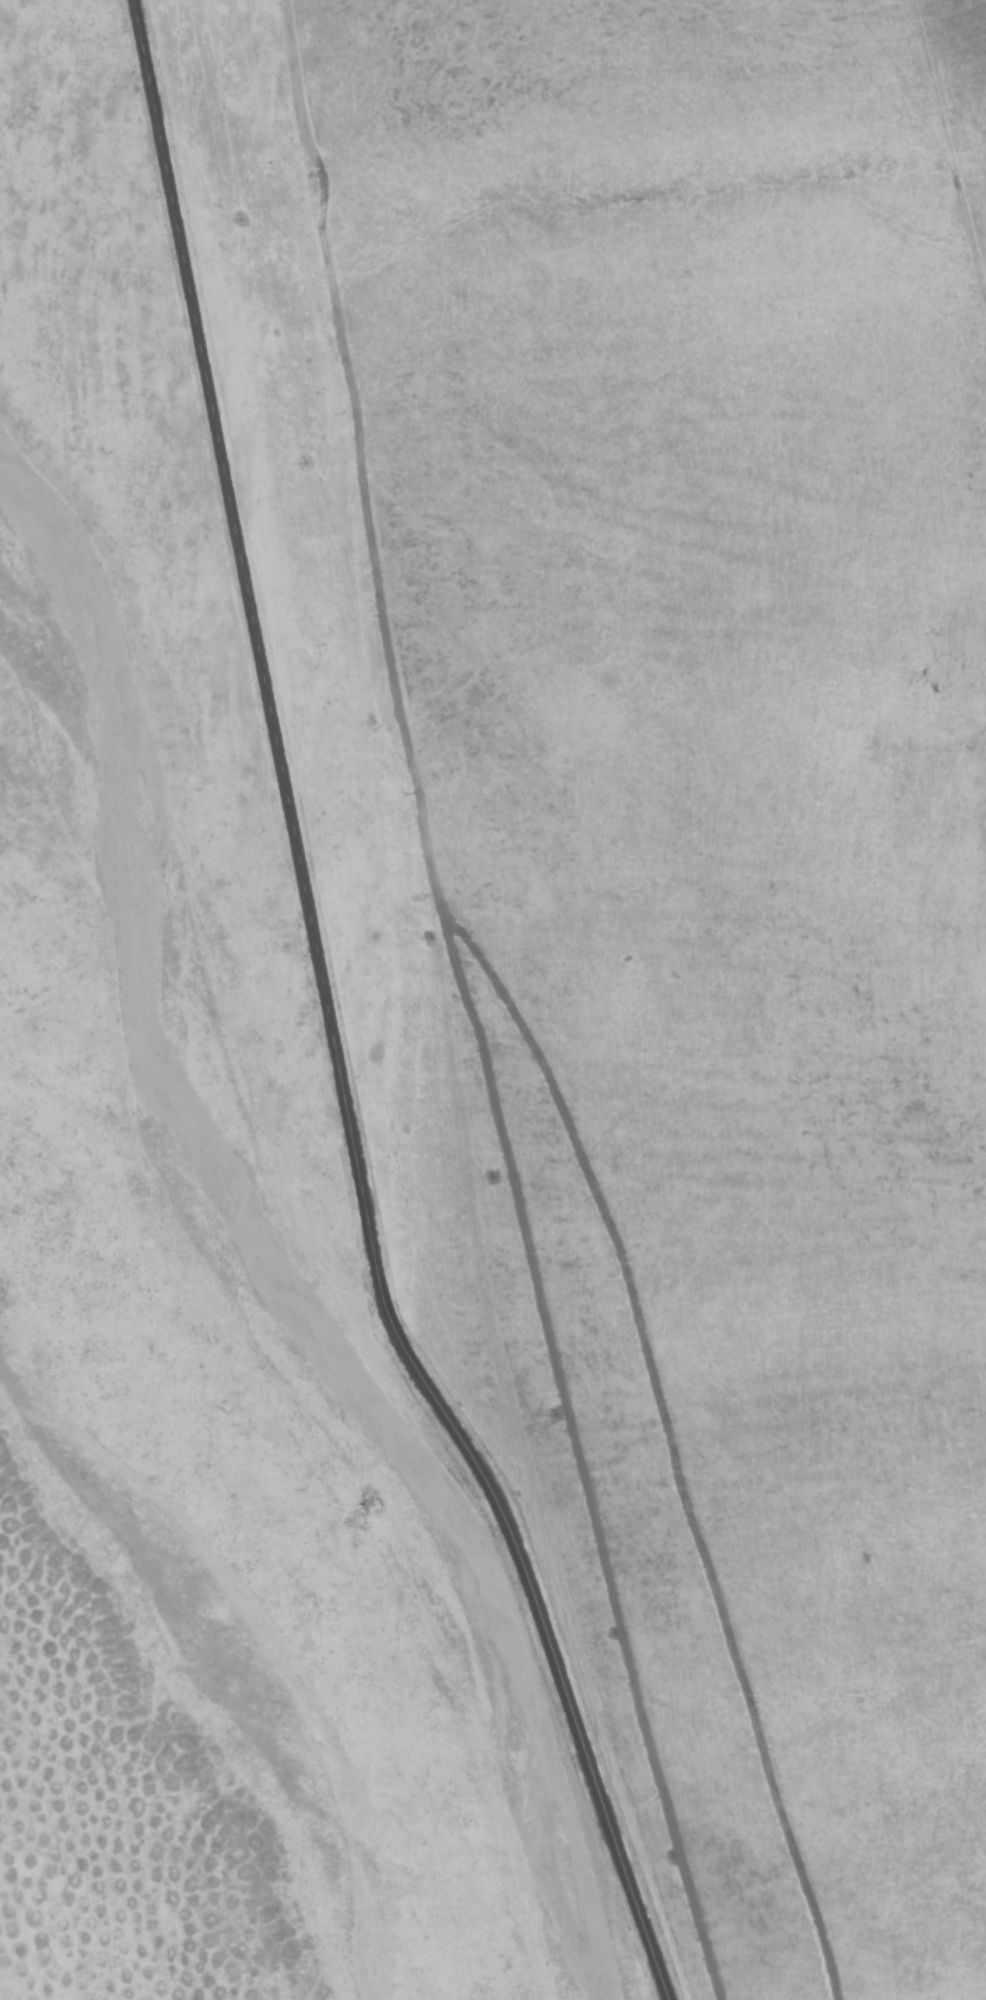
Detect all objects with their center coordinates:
road: (329, 1022)
crop: (426, 1030)
crop: (117, 1791)

